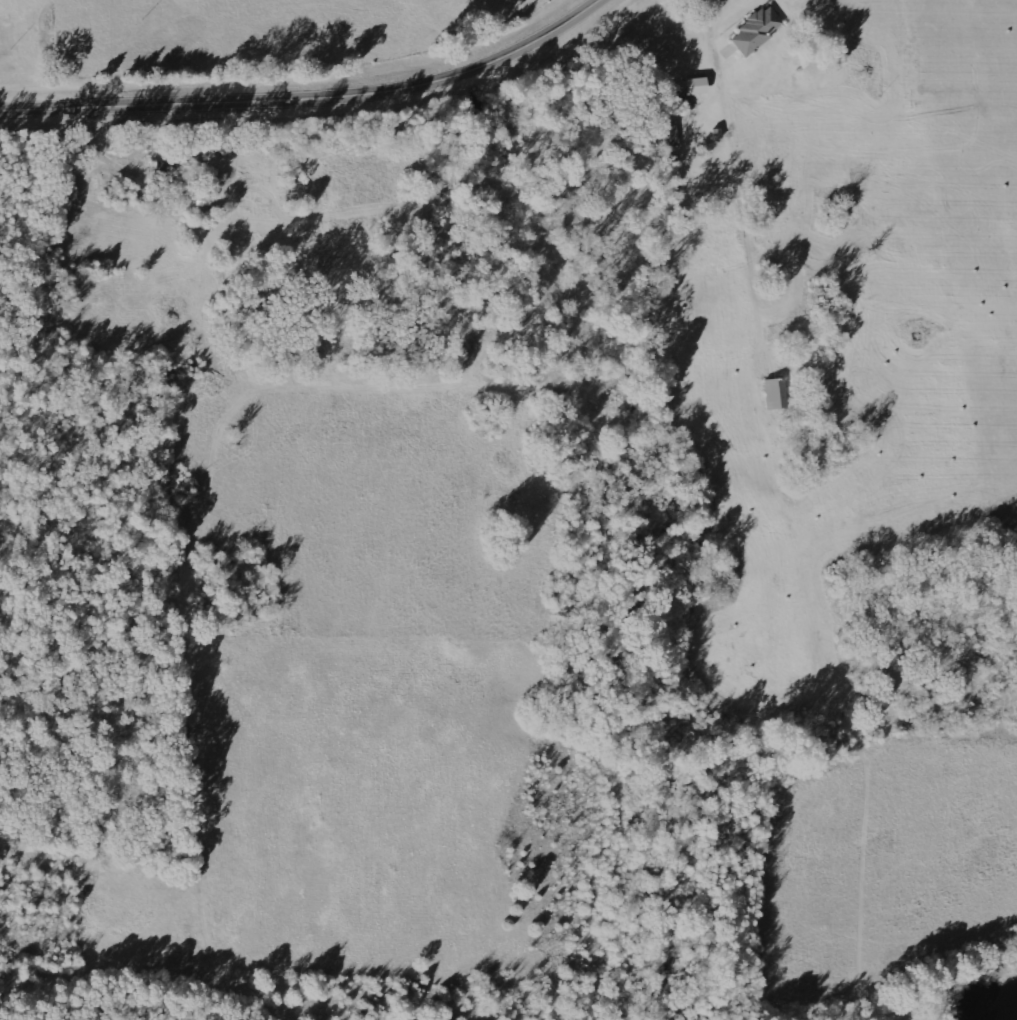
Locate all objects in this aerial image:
building: (756, 30)
building: (694, 85)
road: (309, 95)
building: (669, 133)
building: (775, 393)

